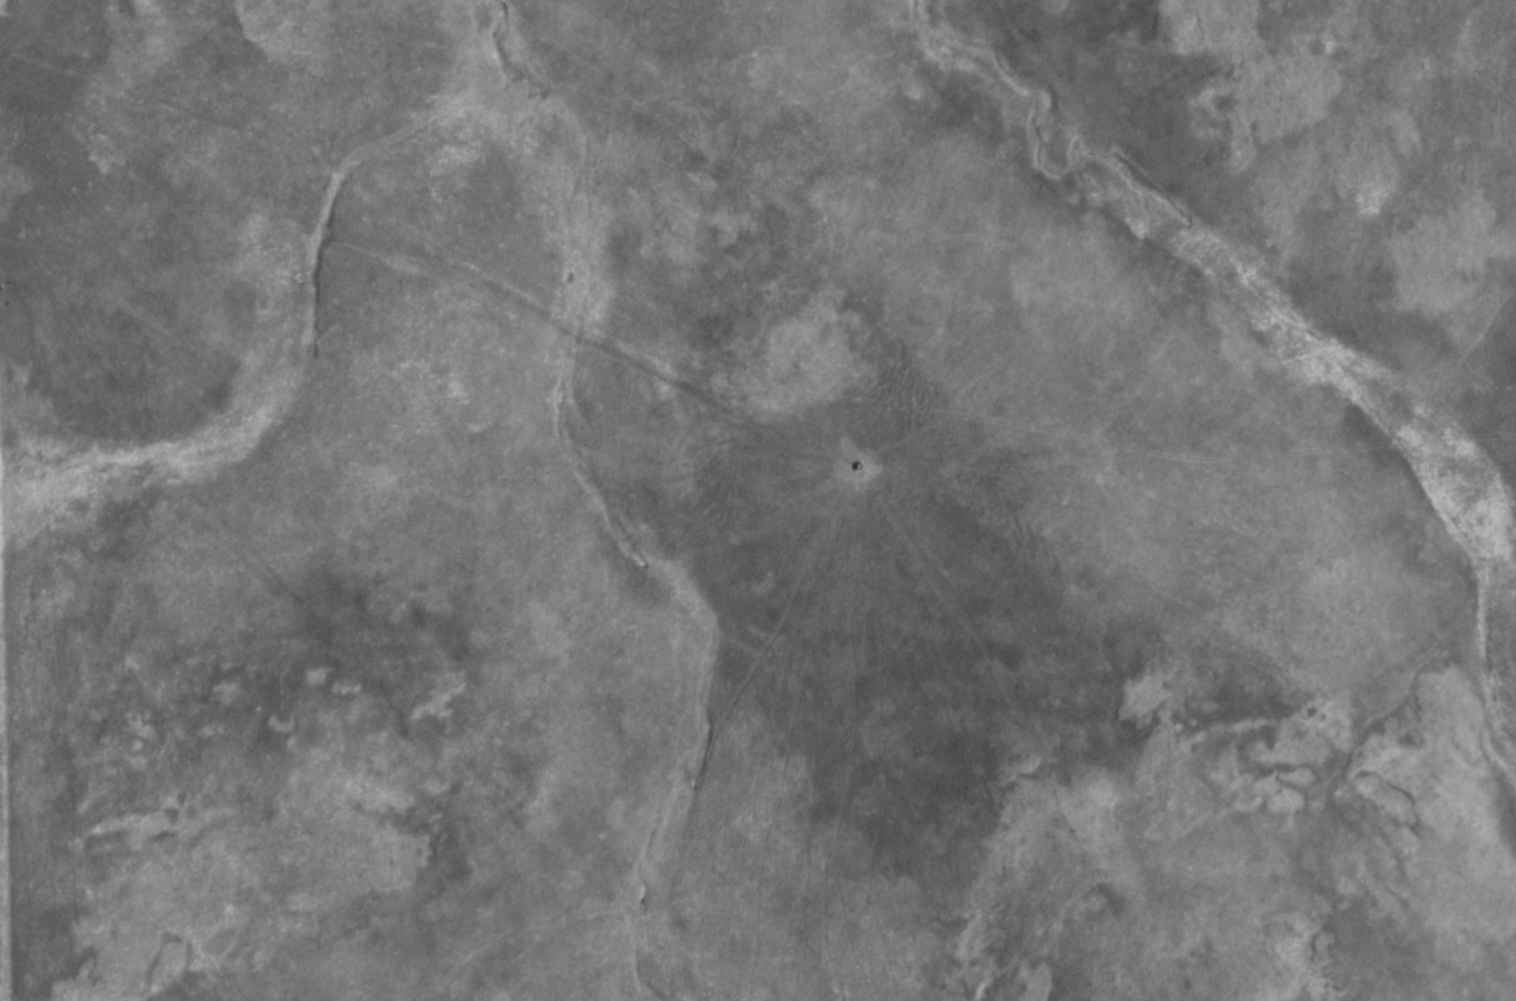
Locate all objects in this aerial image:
road: (7, 663)

